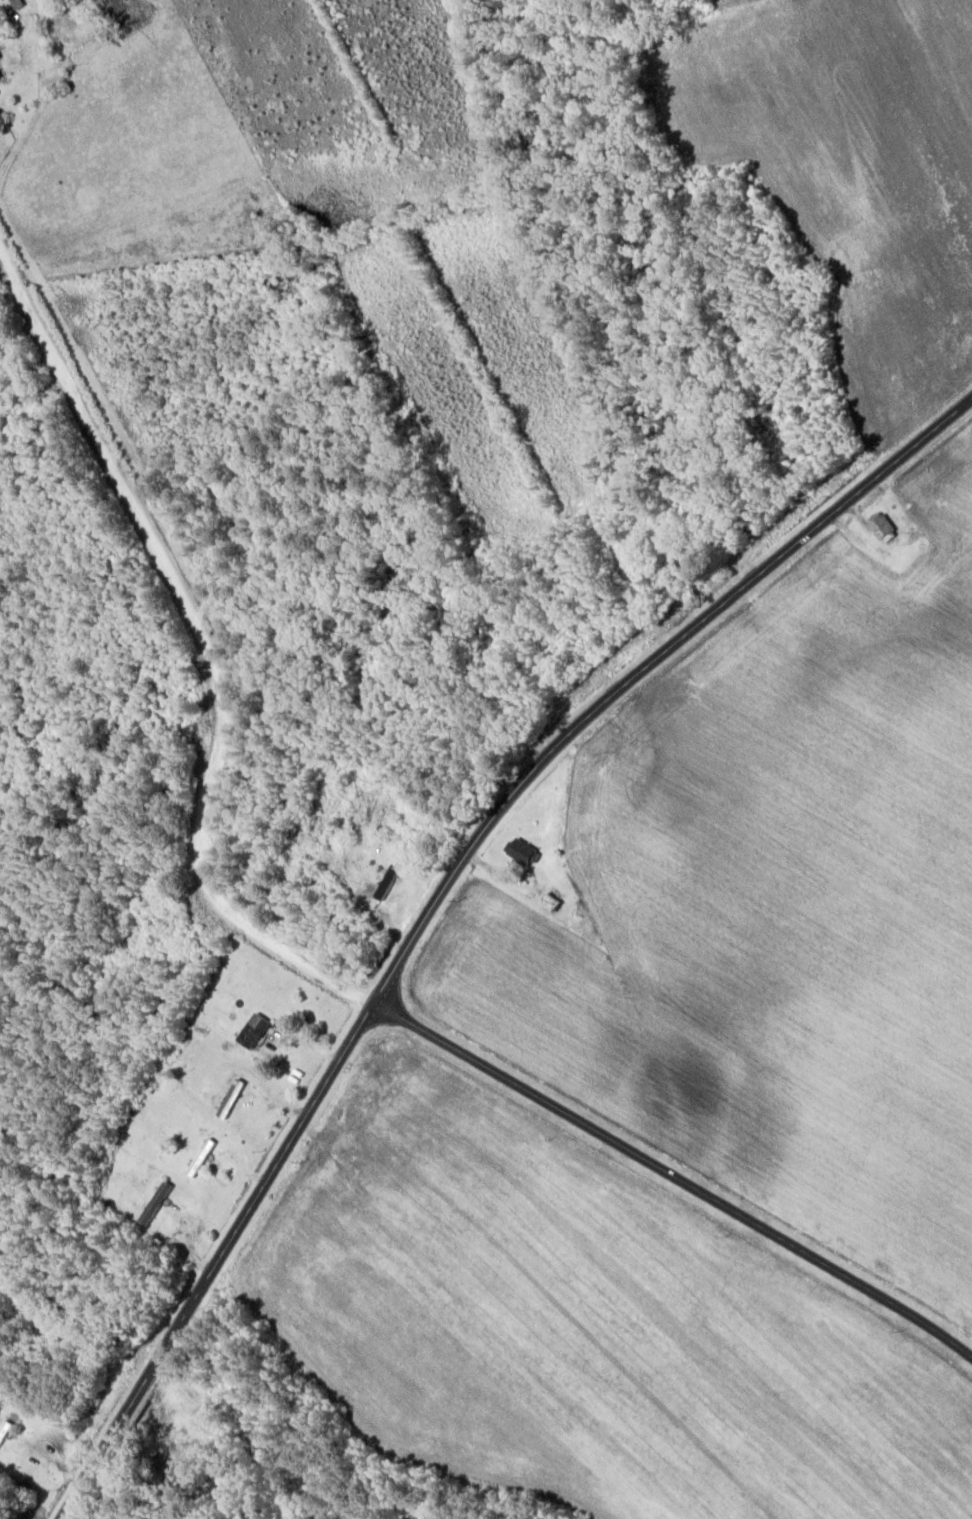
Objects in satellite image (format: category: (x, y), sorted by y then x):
building: (878, 527)
road: (205, 653)
road: (640, 672)
building: (520, 854)
building: (386, 883)
building: (549, 901)
building: (146, 915)
building: (254, 1027)
building: (227, 1093)
building: (199, 1160)
road: (674, 1180)
building: (154, 1206)
road: (217, 1262)
building: (4, 1432)

